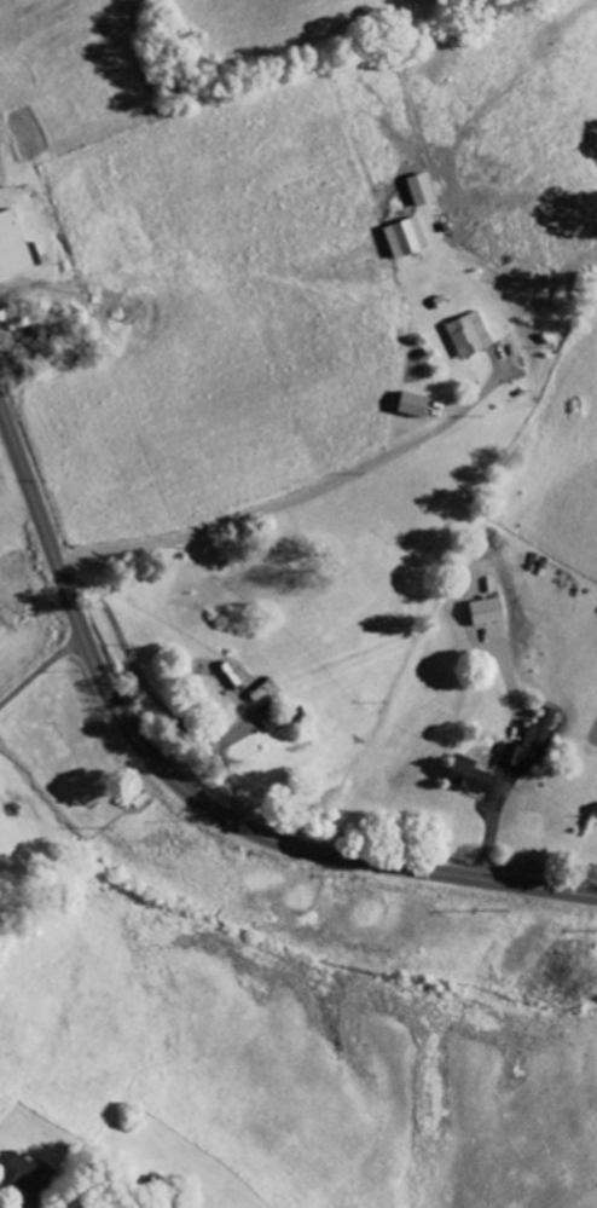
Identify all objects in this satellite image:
building: (425, 191)
building: (410, 239)
building: (15, 248)
building: (473, 337)
road: (295, 497)
road: (40, 510)
building: (491, 612)
building: (274, 717)
building: (534, 741)
building: (474, 776)
road: (289, 840)
building: (30, 1175)

